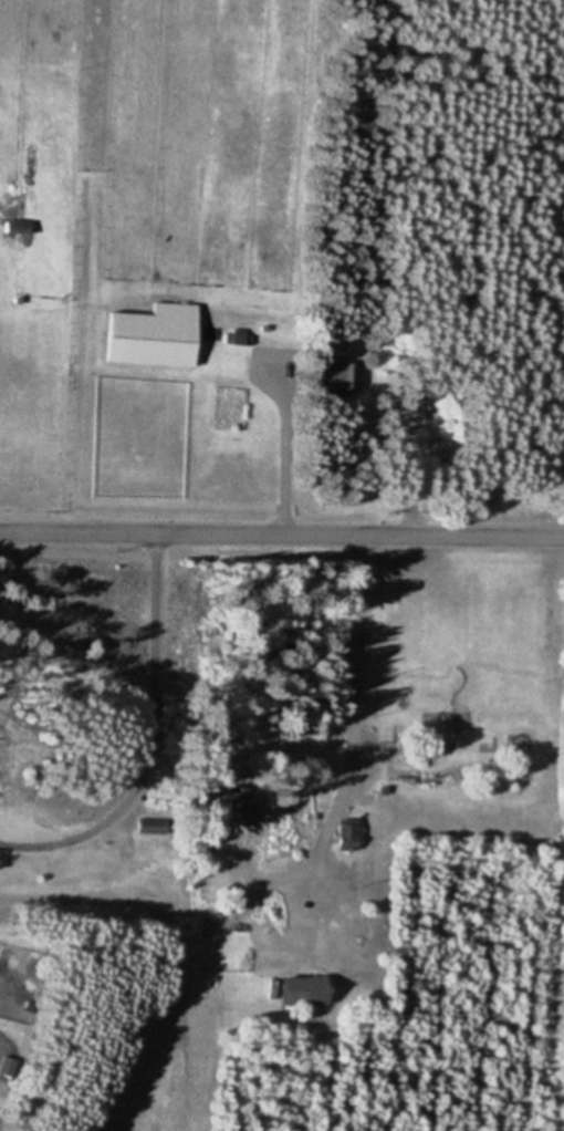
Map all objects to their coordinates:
building: (156, 336)
road: (288, 459)
road: (282, 535)
road: (352, 733)
road: (148, 739)
building: (241, 809)
building: (351, 834)
road: (91, 900)
building: (307, 990)

